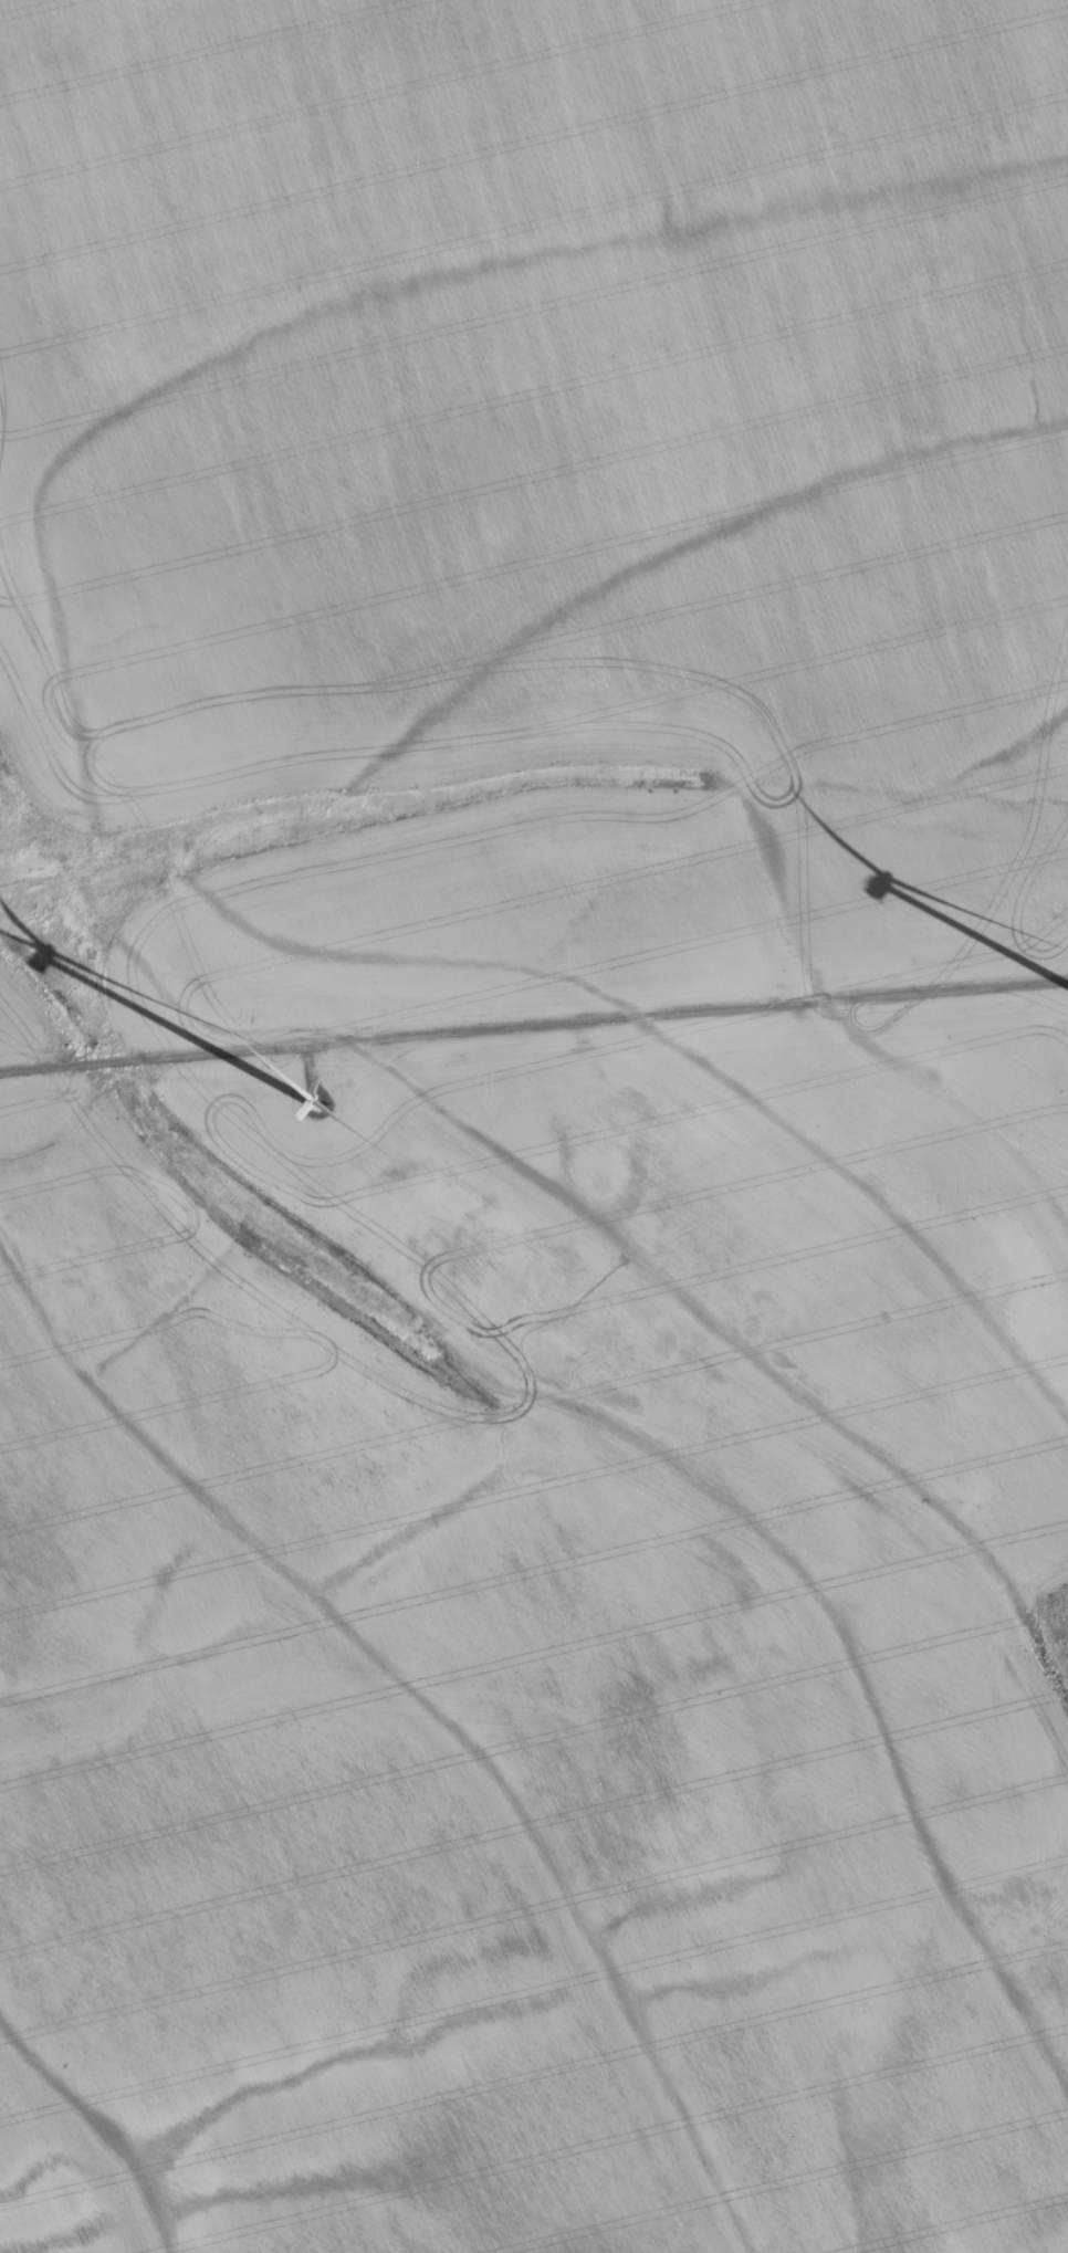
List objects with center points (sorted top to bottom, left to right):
wind turbine: (313, 1111)

